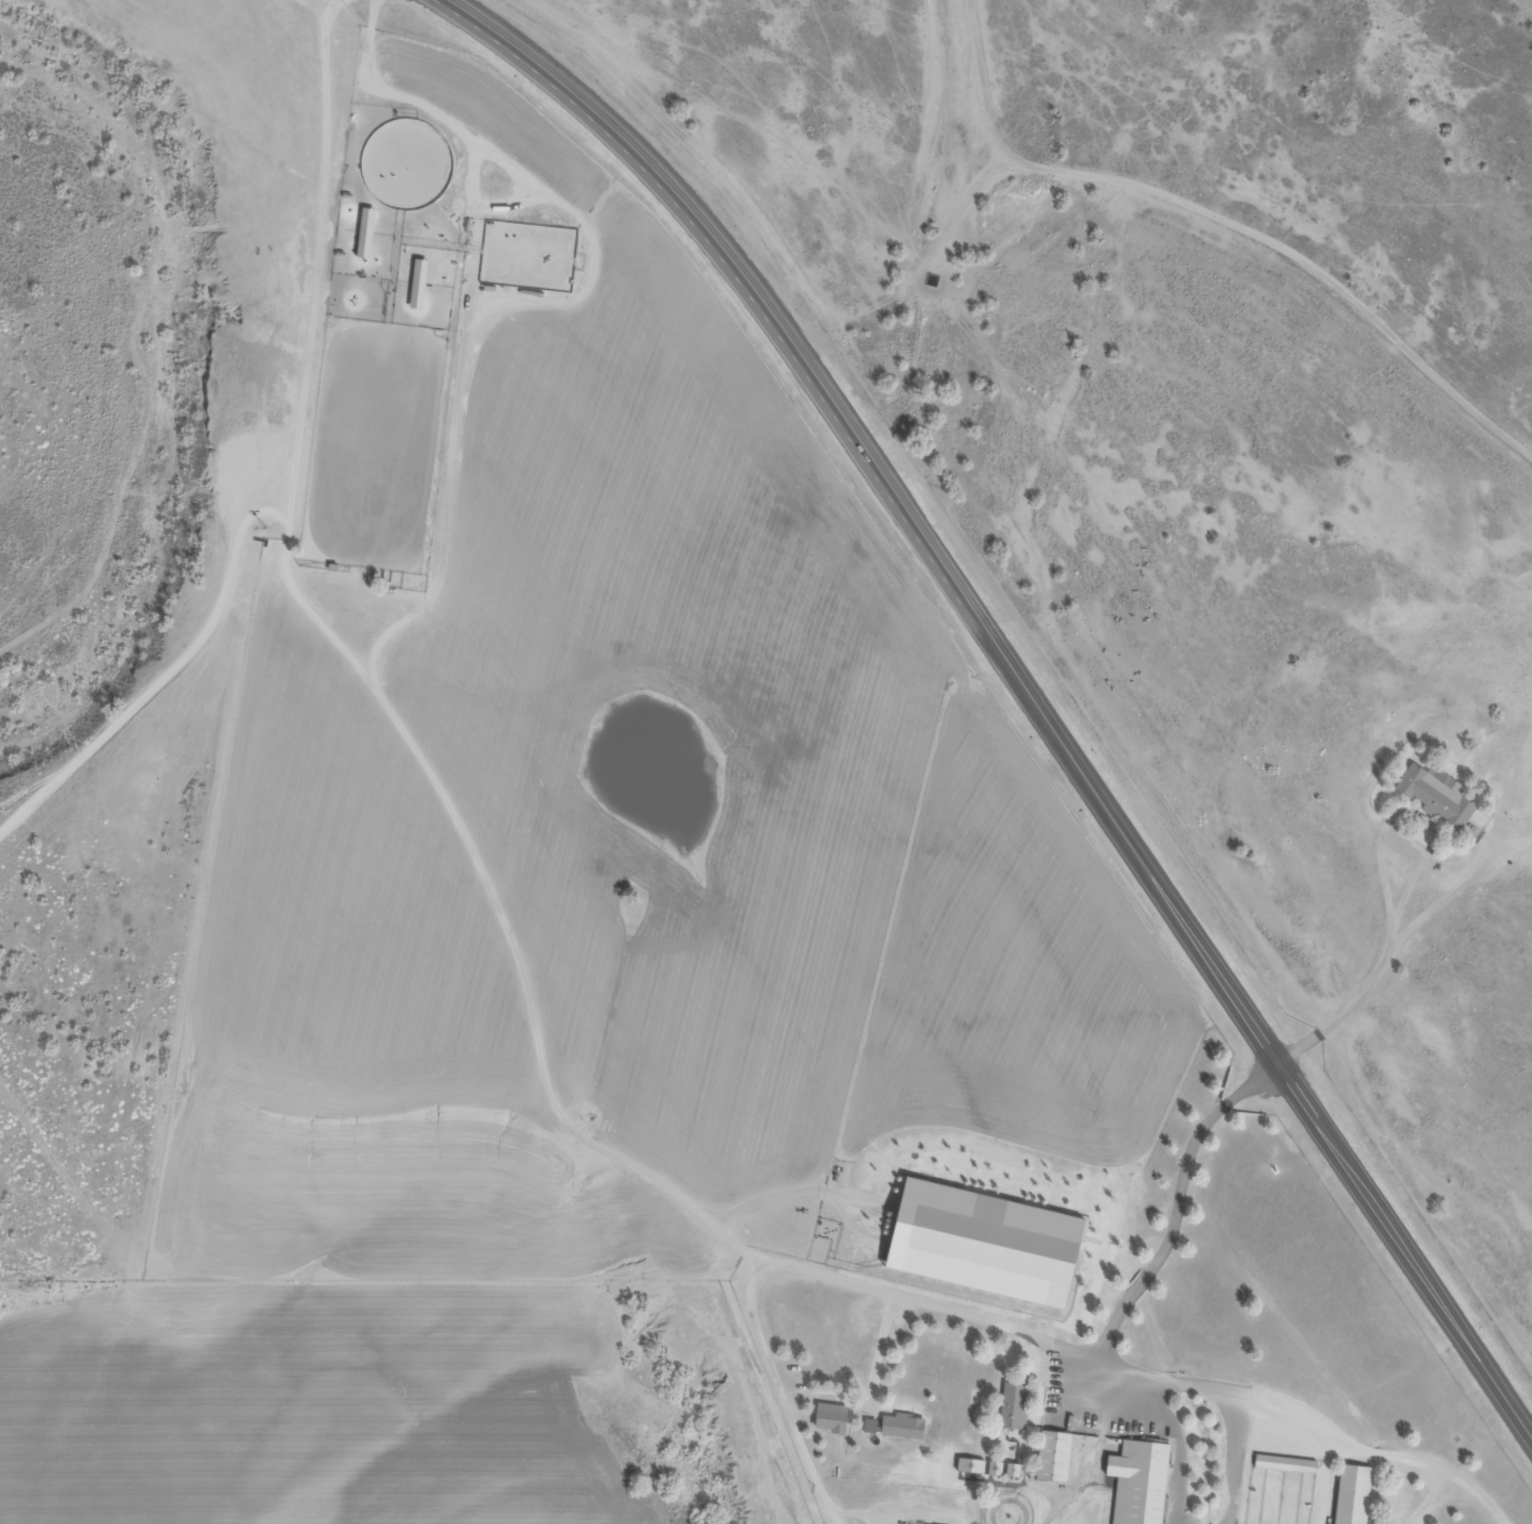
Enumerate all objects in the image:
road: (321, 3)
park: (408, 162)
road: (480, 206)
road: (1222, 215)
building: (366, 232)
road: (780, 244)
road: (318, 274)
building: (932, 280)
storage tank: (932, 280)
building: (420, 283)
road: (541, 301)
river: (202, 368)
road: (288, 530)
building: (261, 540)
storage tank: (261, 540)
road: (1021, 674)
road: (147, 696)
building: (1438, 793)
road: (1401, 811)
road: (1489, 842)
road: (200, 903)
road: (1398, 942)
road: (608, 1152)
road: (798, 1194)
road: (1179, 1201)
building: (987, 1243)
road: (882, 1338)
parking lot: (795, 1383)
road: (782, 1391)
parking lot: (1109, 1395)
building: (1016, 1404)
building: (832, 1416)
road: (1311, 1421)
building: (899, 1426)
building: (1055, 1455)
road: (1099, 1455)
building: (1286, 1462)
building: (972, 1464)
building: (997, 1467)
building: (1014, 1468)
road: (1326, 1478)
building: (1140, 1481)
building: (1354, 1494)
road: (1433, 1502)
park: (1009, 1508)

